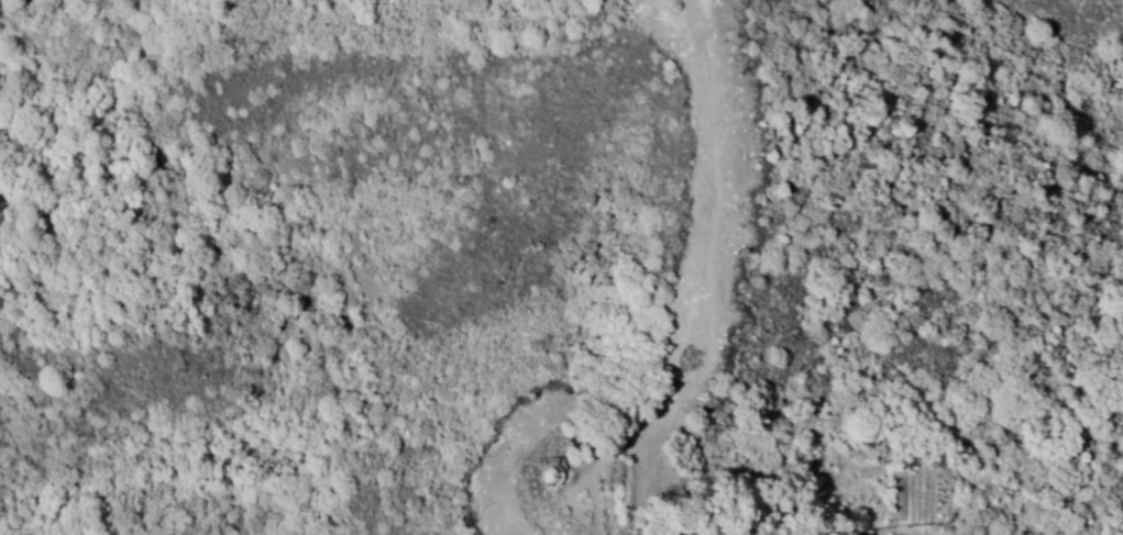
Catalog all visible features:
road: (572, 486)

